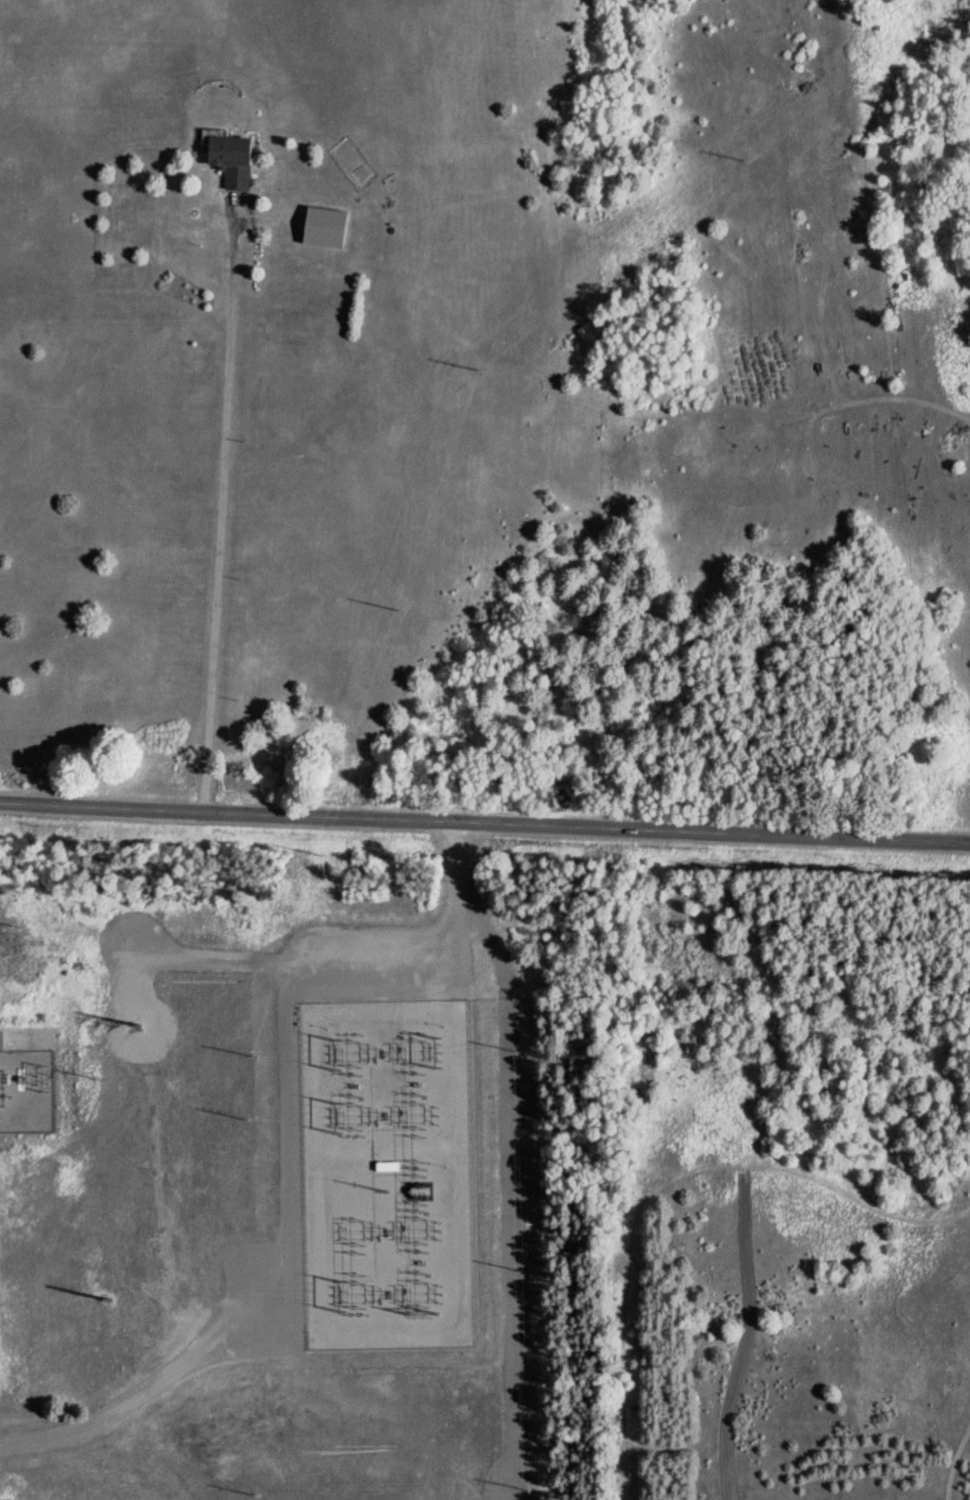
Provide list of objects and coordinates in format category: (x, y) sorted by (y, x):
building: (228, 158)
building: (321, 227)
road: (484, 822)
road: (458, 848)
road: (468, 926)
road: (456, 937)
road: (218, 961)
road: (135, 970)
road: (295, 983)
road: (137, 1003)
power tower: (141, 1025)
building: (3, 1038)
power substation: (28, 1089)
road: (290, 1121)
building: (386, 1162)
power substation: (390, 1173)
road: (511, 1194)
road: (238, 1349)
road: (124, 1402)

